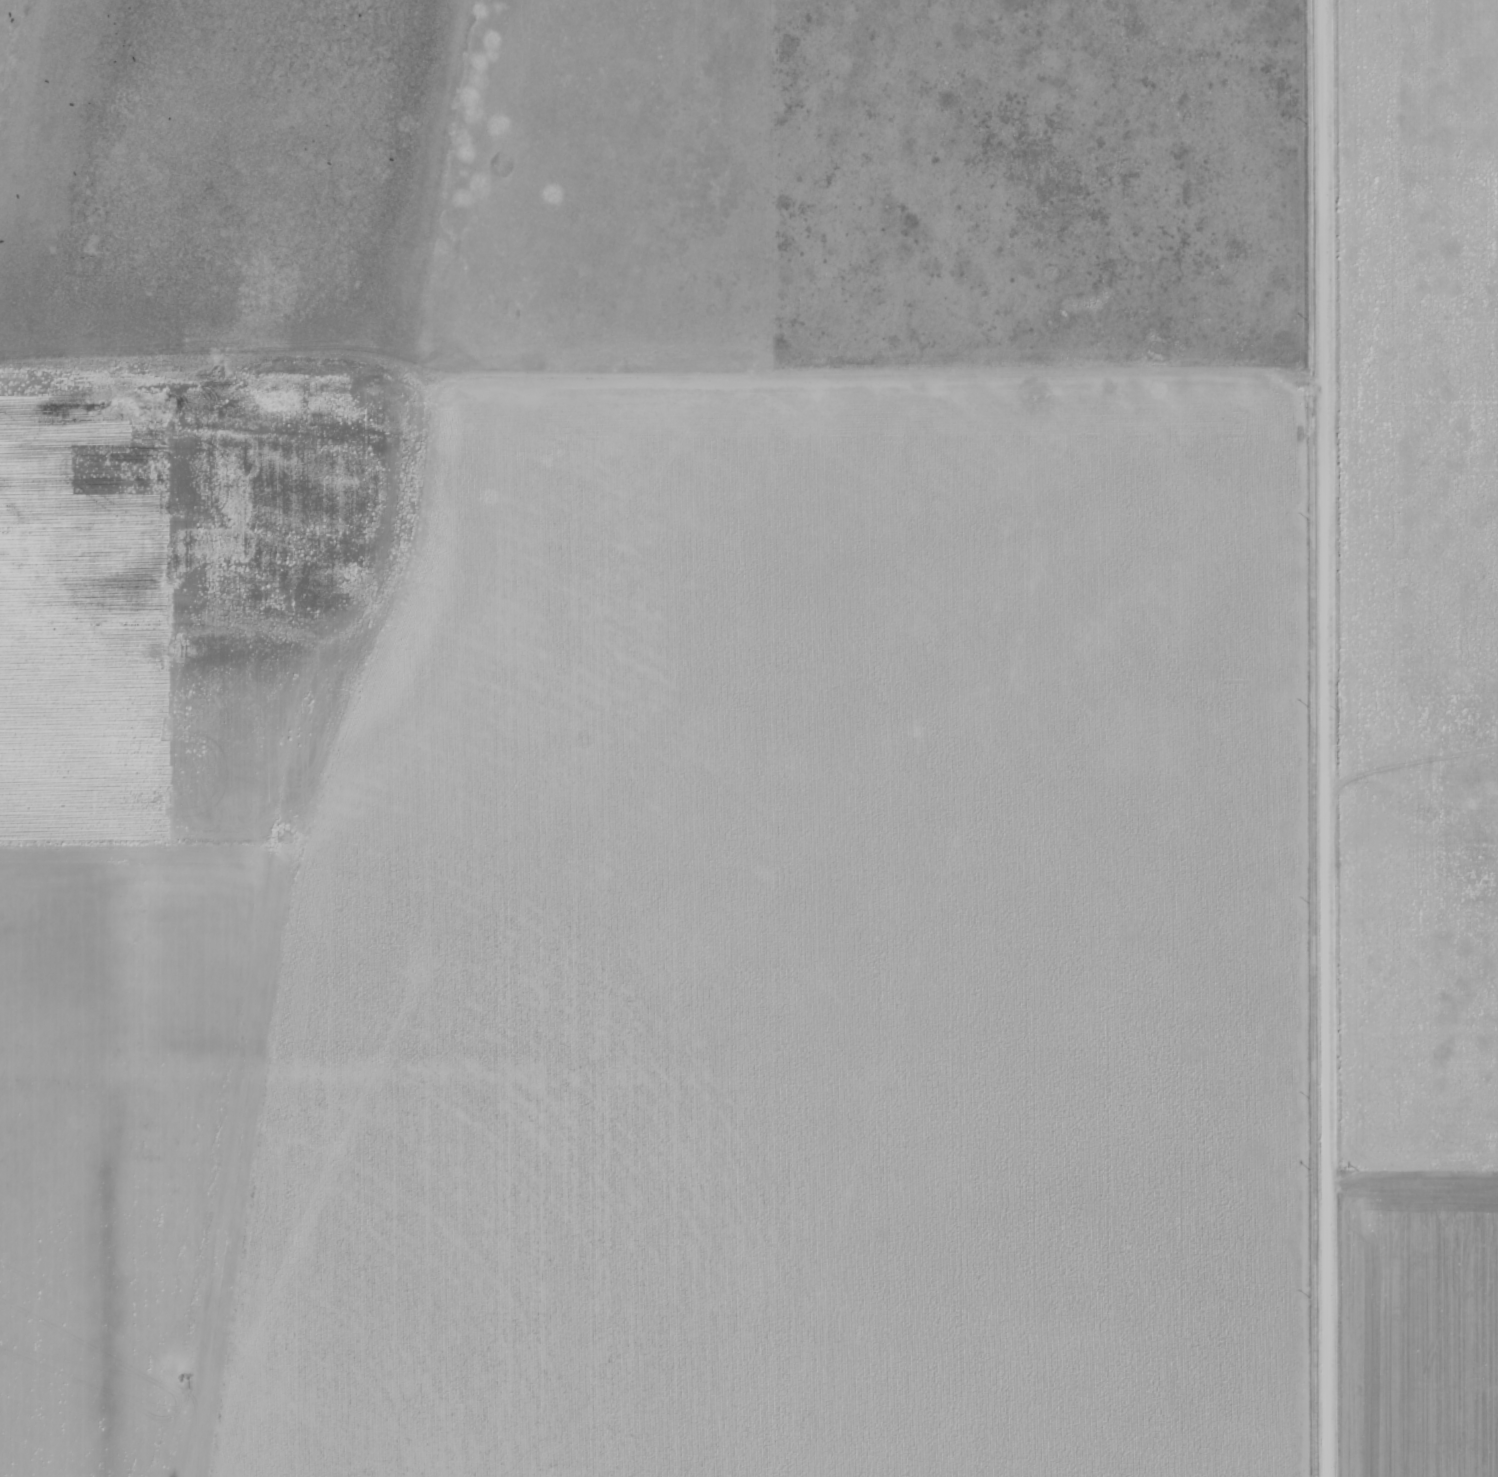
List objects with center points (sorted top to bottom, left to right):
road: (1309, 738)
road: (1403, 1125)

